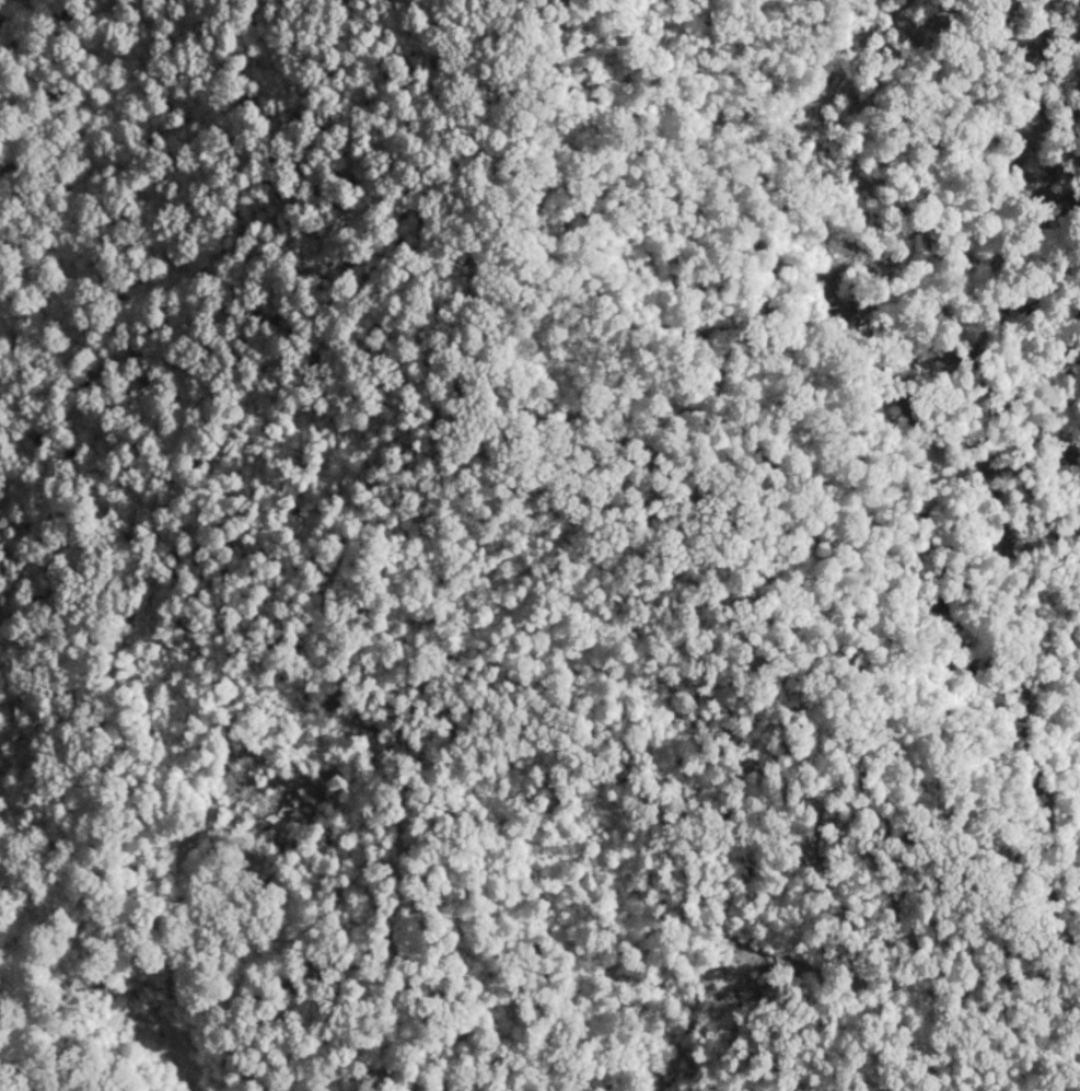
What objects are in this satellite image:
road: (20, 1076)

